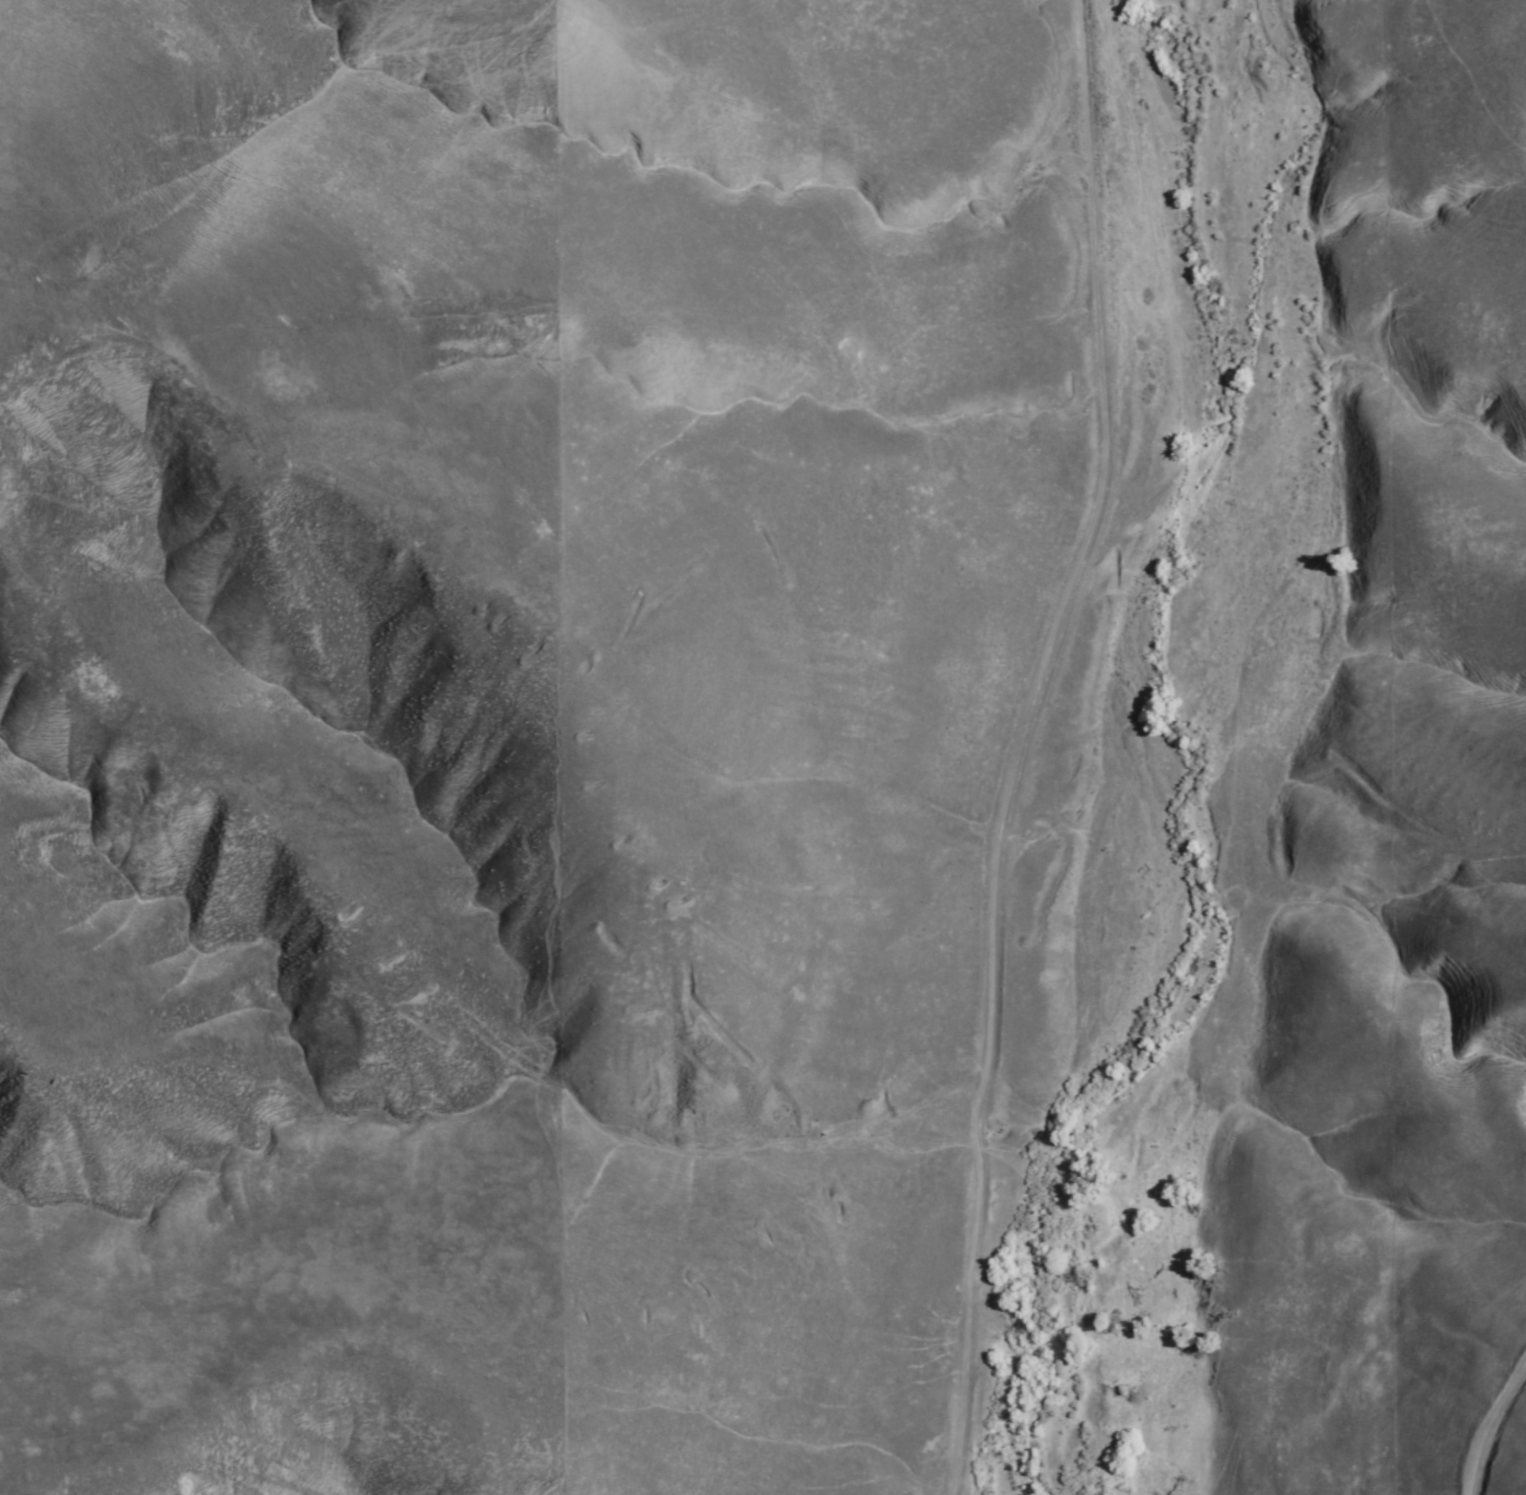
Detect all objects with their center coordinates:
road: (1022, 743)

